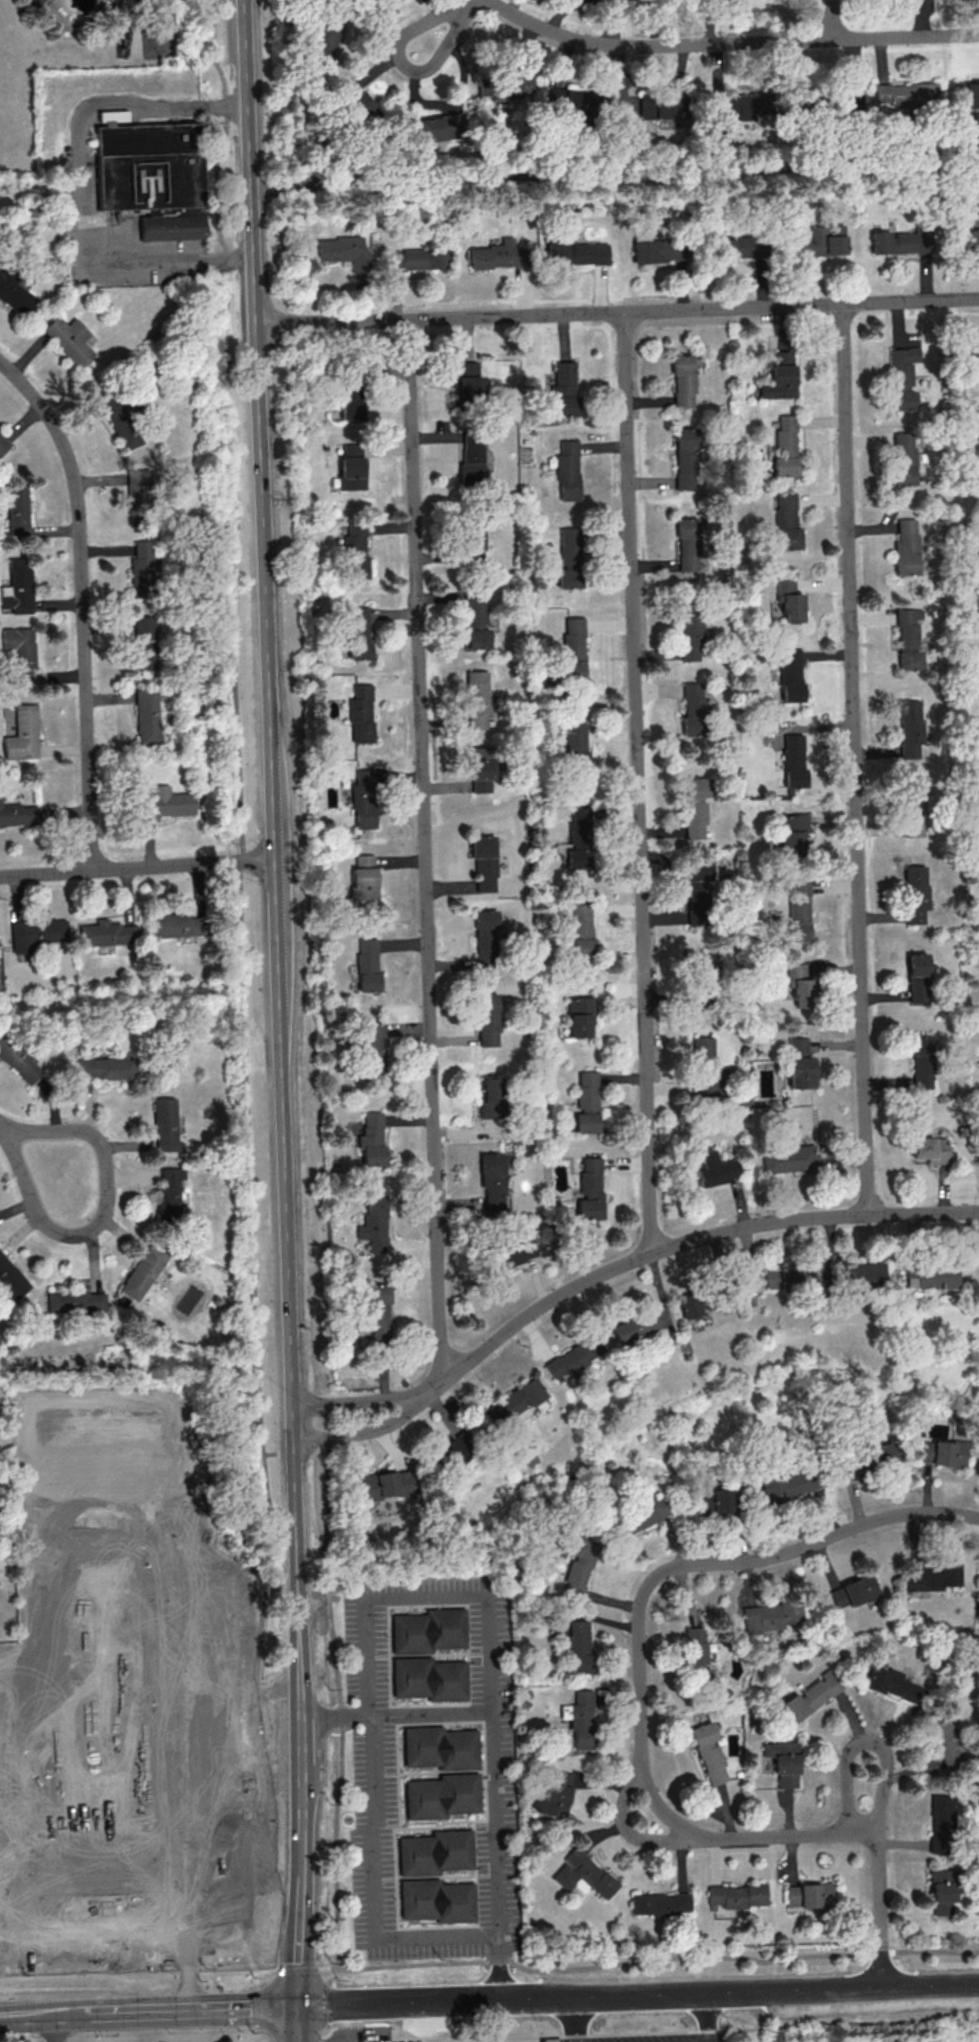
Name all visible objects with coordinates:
building: (34, 2)
road: (464, 4)
road: (834, 19)
building: (325, 36)
road: (729, 44)
road: (402, 64)
building: (509, 85)
building: (904, 93)
building: (968, 93)
building: (355, 98)
building: (579, 100)
building: (734, 104)
building: (659, 105)
building: (434, 127)
building: (151, 173)
road: (615, 177)
road: (84, 181)
building: (968, 238)
building: (821, 241)
building: (898, 242)
building: (731, 248)
building: (344, 251)
building: (653, 251)
building: (575, 252)
building: (495, 255)
building: (418, 258)
building: (16, 294)
road: (617, 313)
building: (70, 339)
building: (779, 376)
building: (468, 378)
building: (906, 378)
building: (686, 384)
building: (568, 389)
building: (351, 401)
building: (122, 423)
building: (3, 443)
building: (785, 444)
building: (977, 447)
building: (352, 449)
building: (470, 456)
building: (903, 458)
building: (688, 461)
building: (351, 472)
building: (572, 472)
building: (137, 492)
building: (17, 509)
building: (790, 524)
building: (474, 543)
building: (690, 547)
building: (912, 548)
building: (355, 552)
building: (574, 561)
building: (142, 568)
building: (17, 588)
building: (788, 600)
road: (84, 605)
building: (476, 622)
building: (358, 632)
building: (691, 634)
building: (914, 638)
building: (144, 642)
building: (20, 652)
building: (578, 656)
building: (795, 675)
building: (477, 698)
building: (694, 709)
building: (366, 712)
building: (148, 716)
building: (910, 727)
building: (22, 734)
building: (574, 741)
road: (855, 759)
building: (800, 762)
building: (480, 775)
road: (638, 782)
building: (363, 797)
building: (164, 803)
building: (911, 809)
building: (699, 810)
building: (18, 815)
building: (792, 833)
building: (578, 837)
road: (425, 851)
building: (488, 862)
road: (137, 868)
building: (368, 879)
building: (698, 891)
road: (275, 896)
building: (921, 896)
building: (798, 911)
building: (175, 925)
building: (586, 928)
building: (35, 933)
building: (107, 933)
building: (489, 939)
building: (702, 960)
building: (367, 964)
building: (917, 977)
building: (799, 985)
building: (584, 1016)
building: (492, 1021)
building: (371, 1046)
building: (18, 1060)
building: (921, 1061)
building: (106, 1067)
building: (803, 1067)
building: (706, 1071)
building: (490, 1098)
building: (592, 1105)
building: (165, 1125)
road: (5, 1127)
building: (375, 1142)
building: (930, 1149)
road: (106, 1157)
building: (786, 1158)
building: (715, 1168)
building: (492, 1180)
road: (27, 1188)
building: (593, 1190)
building: (168, 1194)
building: (374, 1223)
road: (679, 1244)
building: (515, 1251)
building: (141, 1273)
building: (862, 1274)
building: (929, 1276)
building: (787, 1277)
building: (10, 1278)
building: (74, 1301)
building: (688, 1305)
building: (378, 1312)
building: (633, 1326)
building: (573, 1357)
road: (355, 1398)
building: (514, 1401)
road: (361, 1430)
building: (458, 1444)
building: (940, 1451)
building: (865, 1458)
building: (790, 1483)
building: (384, 1484)
building: (714, 1500)
building: (642, 1513)
building: (578, 1564)
building: (931, 1576)
building: (852, 1591)
road: (488, 1613)
building: (770, 1616)
building: (426, 1630)
building: (578, 1646)
road: (177, 1654)
building: (697, 1655)
building: (428, 1678)
building: (892, 1684)
building: (811, 1695)
road: (641, 1711)
road: (332, 1717)
building: (580, 1718)
road: (869, 1740)
building: (439, 1747)
building: (708, 1752)
building: (783, 1762)
building: (555, 1792)
building: (441, 1795)
building: (940, 1823)
road: (629, 1830)
building: (434, 1852)
building: (583, 1875)
road: (11, 1885)
road: (372, 1887)
building: (942, 1892)
building: (736, 1895)
building: (808, 1895)
road: (301, 1900)
building: (436, 1900)
road: (5, 1901)
building: (660, 1903)
road: (8, 1952)
road: (16, 1954)
road: (647, 1959)
road: (297, 1969)
road: (138, 1976)
road: (258, 1980)
road: (870, 1988)
road: (630, 1994)
road: (399, 2003)
traffic signals: (298, 2007)
road: (259, 2008)
road: (177, 2010)
road: (29, 2015)
road: (706, 2017)
road: (573, 2019)
road: (349, 2023)
road: (298, 2024)
road: (58, 2028)
road: (662, 2031)
road: (258, 2035)
parking lot: (652, 2038)
building: (551, 2040)
building: (15, 2041)

